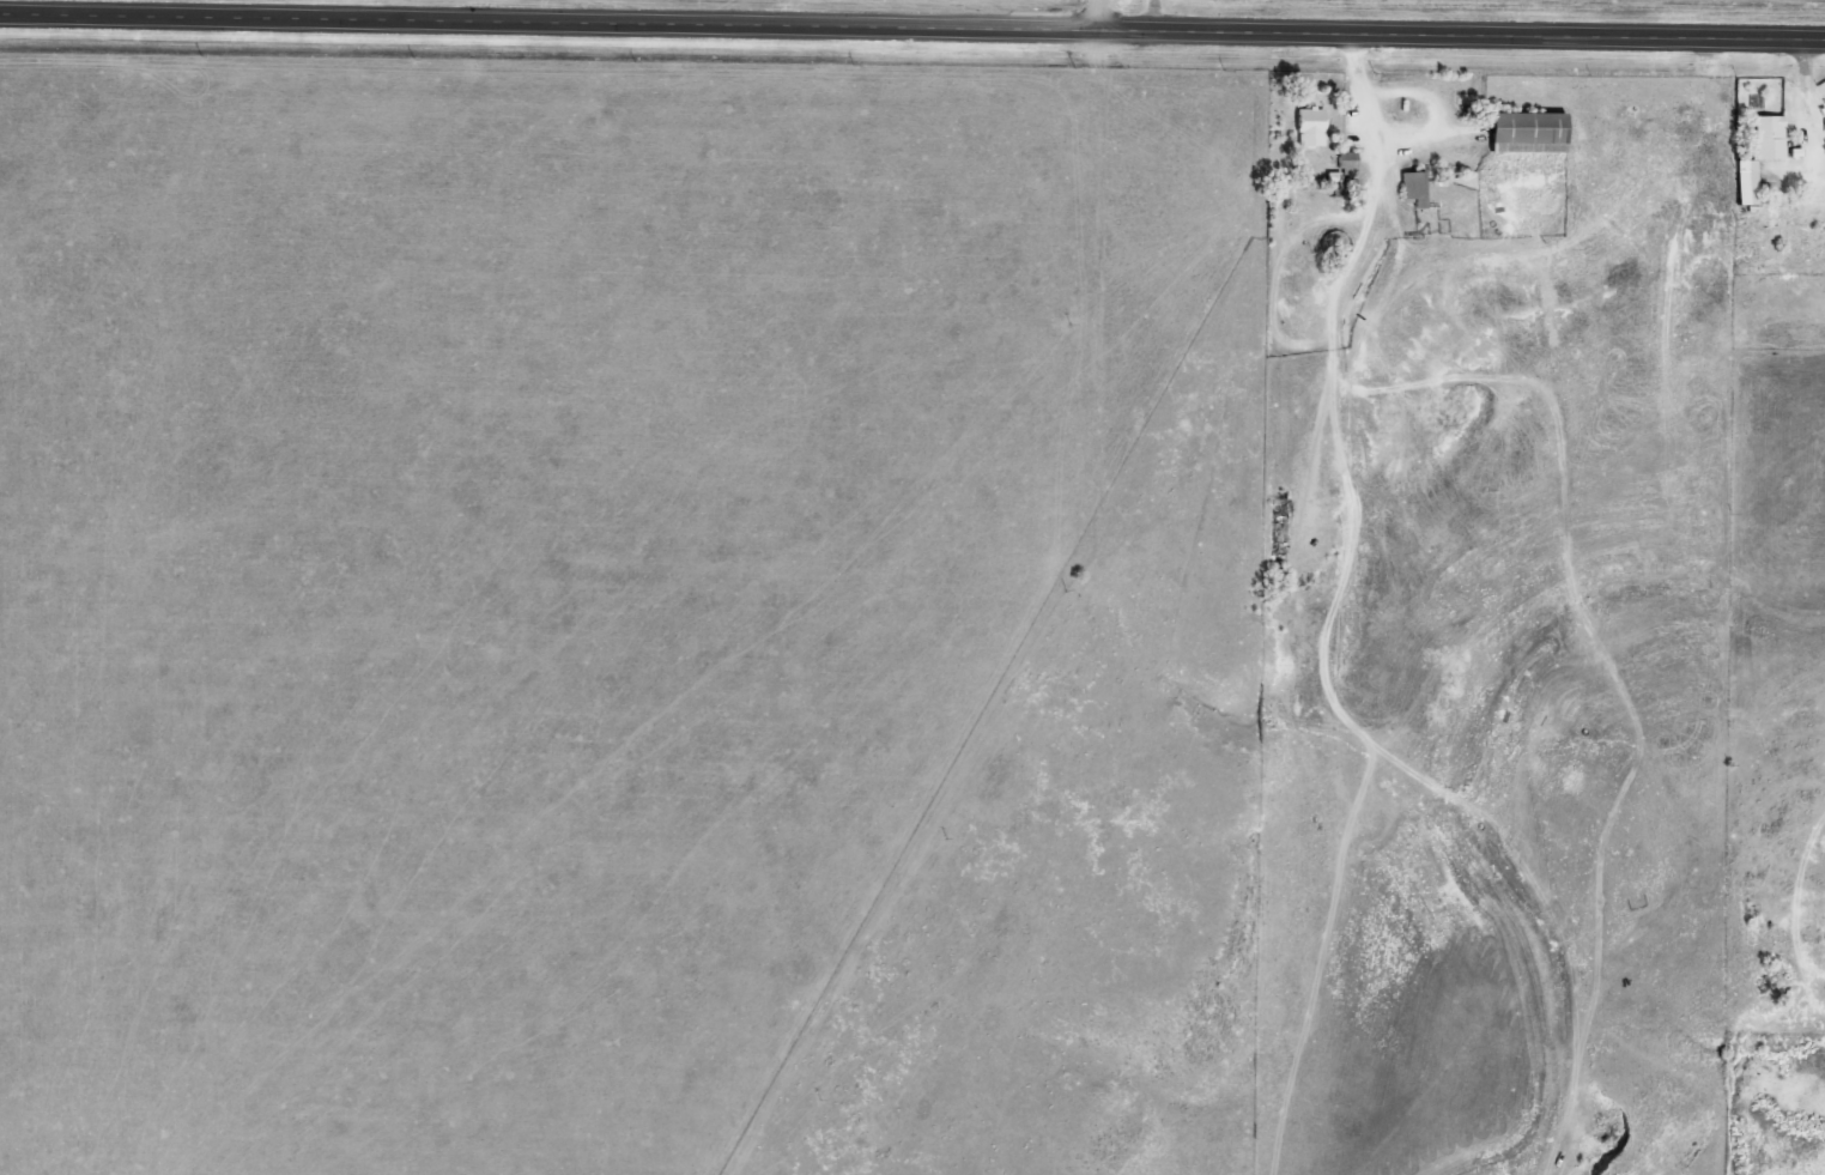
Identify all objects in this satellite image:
road: (1101, 16)
road: (1215, 17)
road: (911, 28)
building: (1312, 127)
building: (1529, 132)
building: (1771, 138)
building: (1750, 182)
building: (1415, 188)

